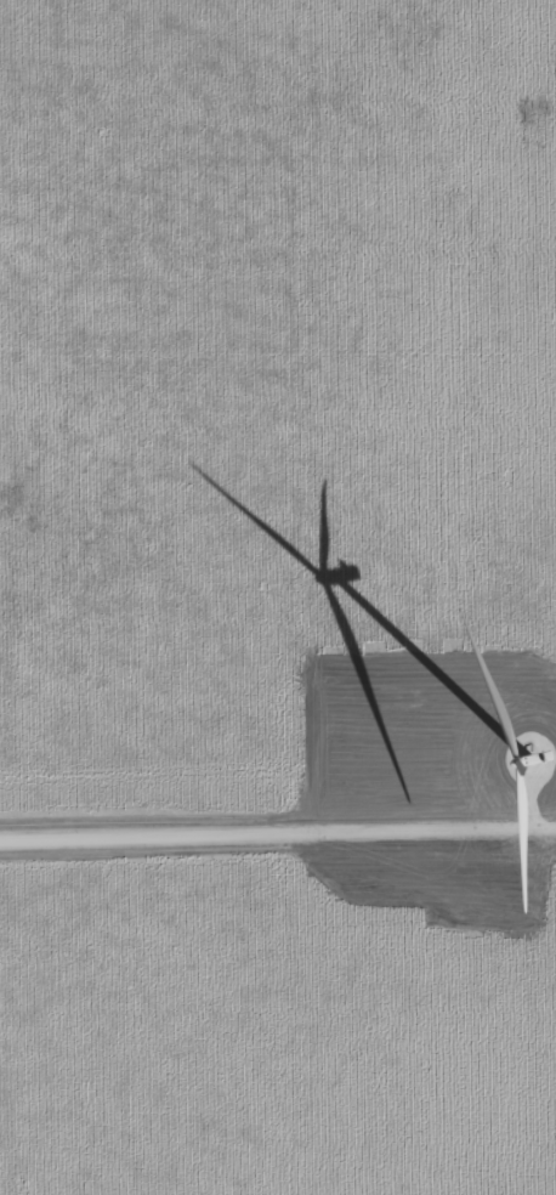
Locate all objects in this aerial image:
wind turbine: (518, 760)

